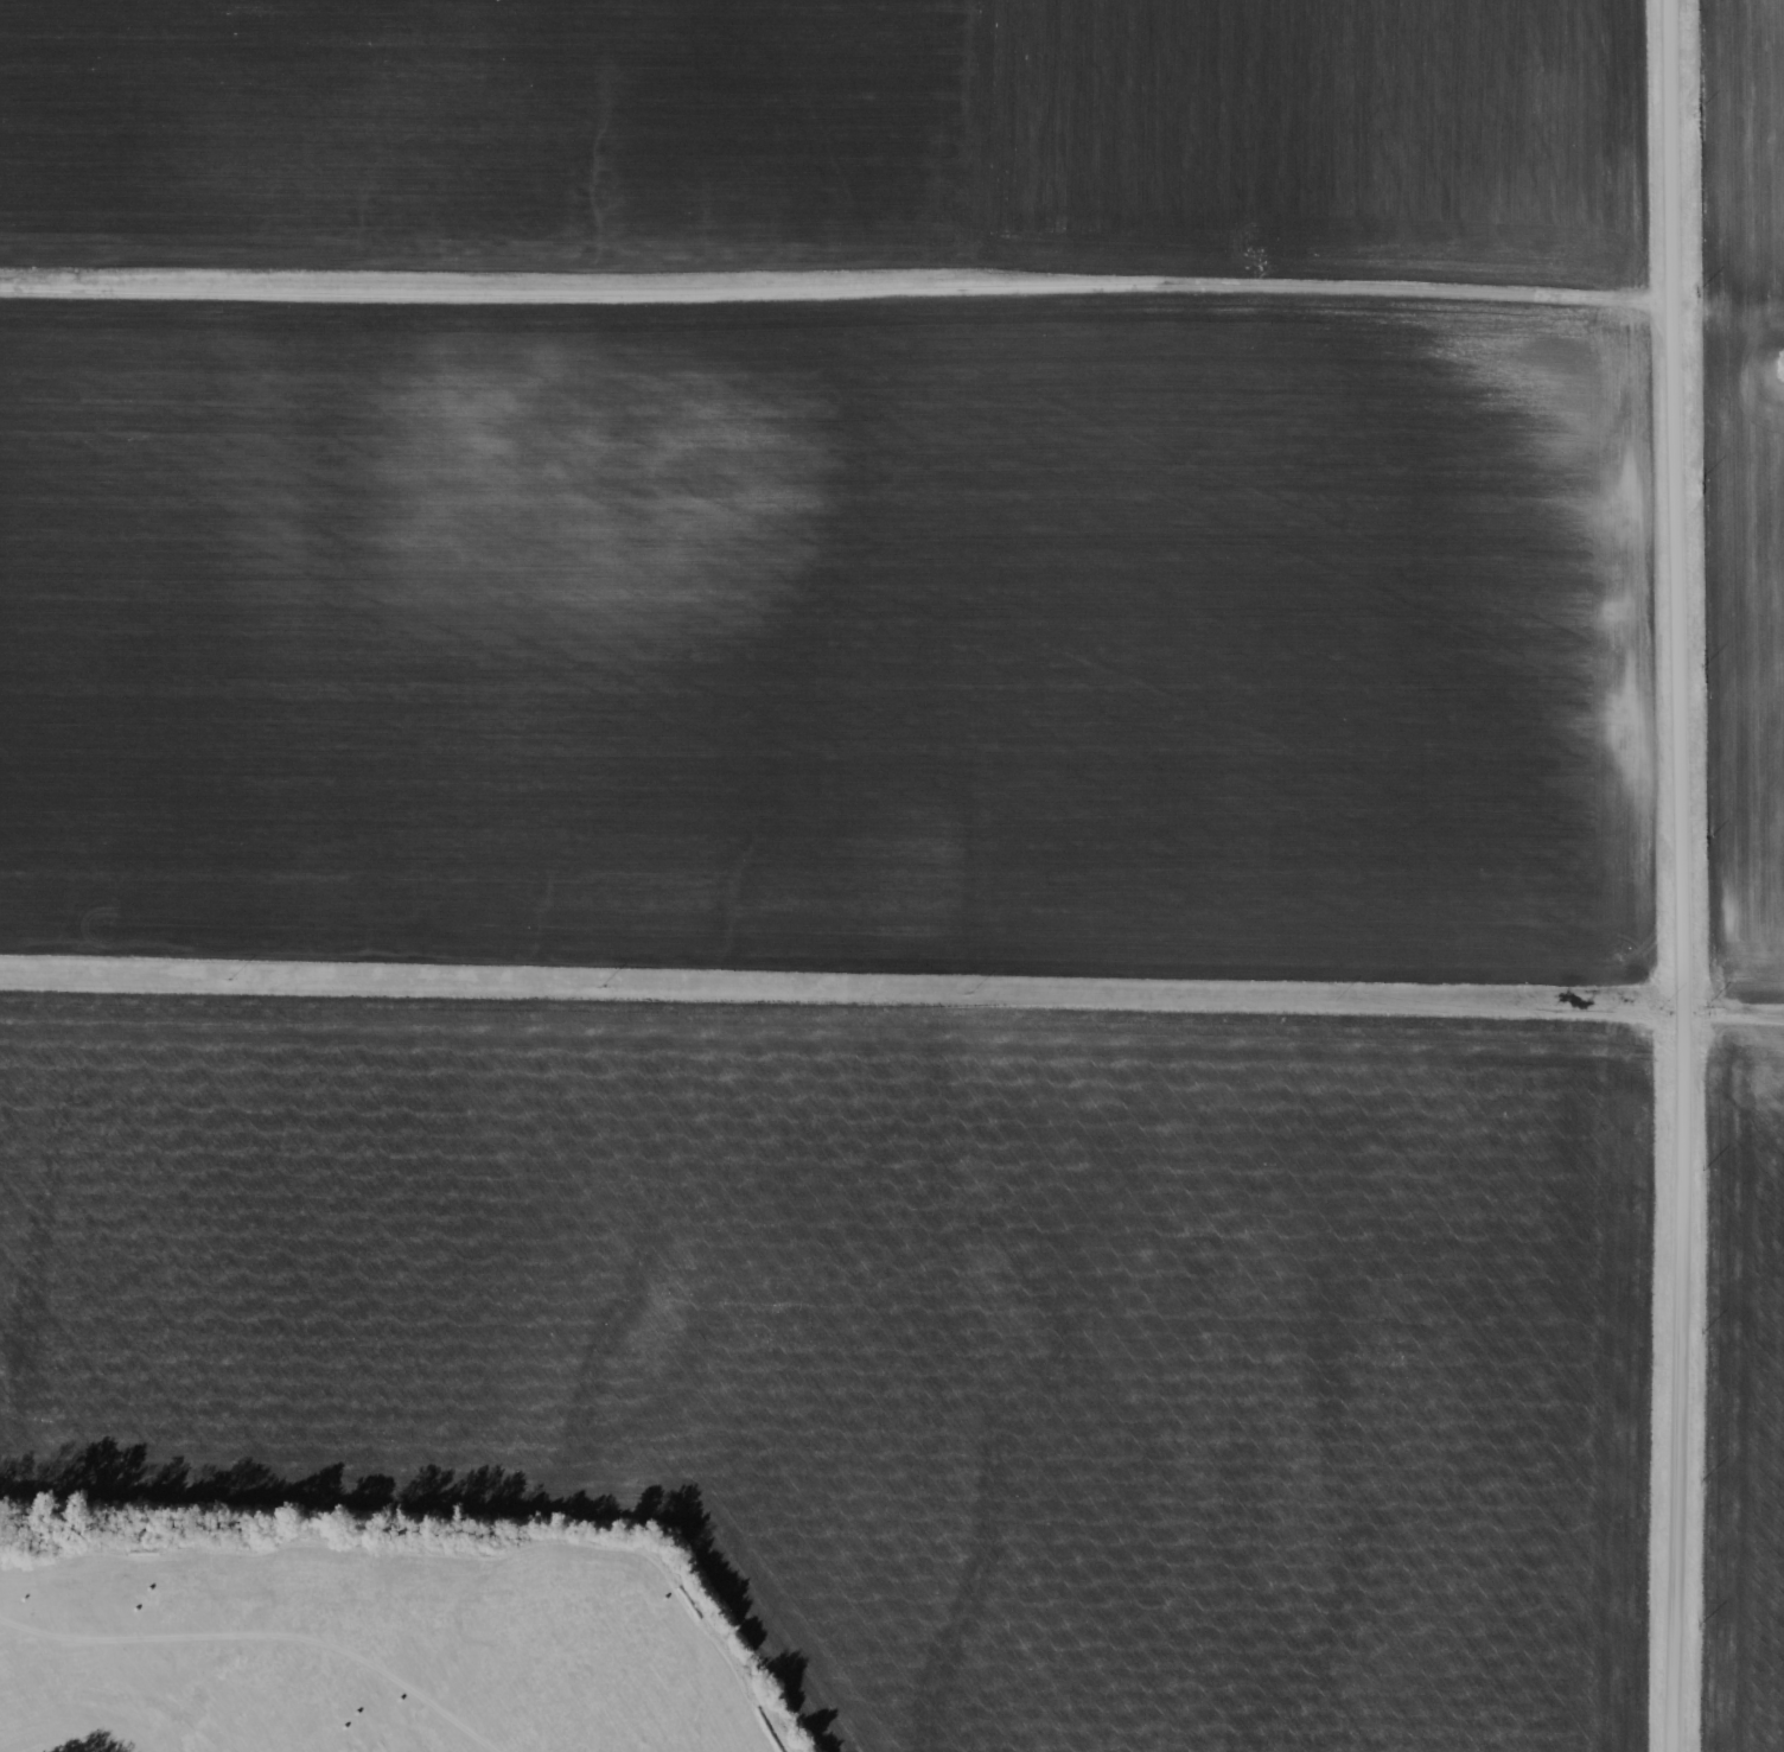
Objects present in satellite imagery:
road: (832, 280)
road: (1657, 875)

